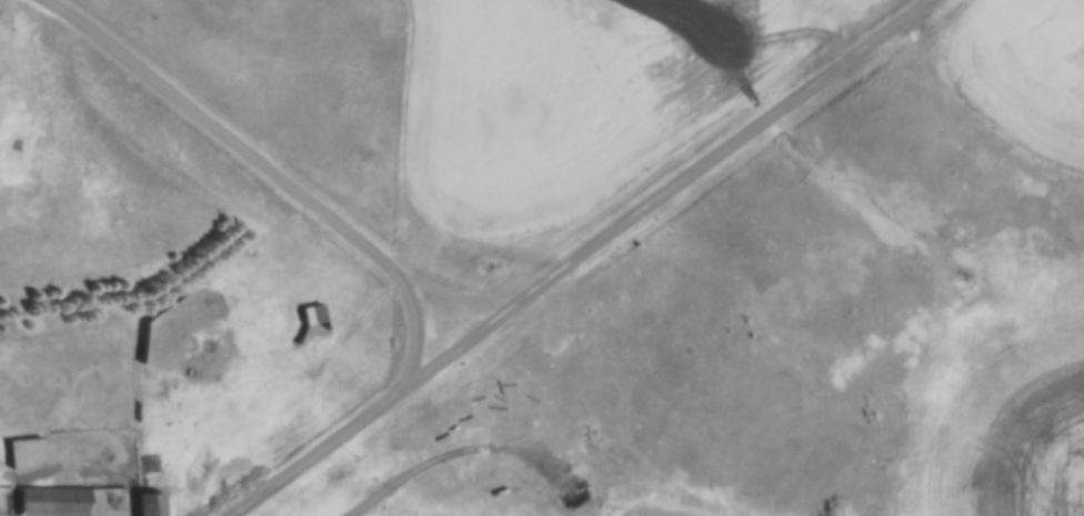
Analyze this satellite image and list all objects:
road: (656, 186)
road: (363, 243)
road: (455, 293)
building: (315, 316)
building: (56, 502)
building: (152, 504)

